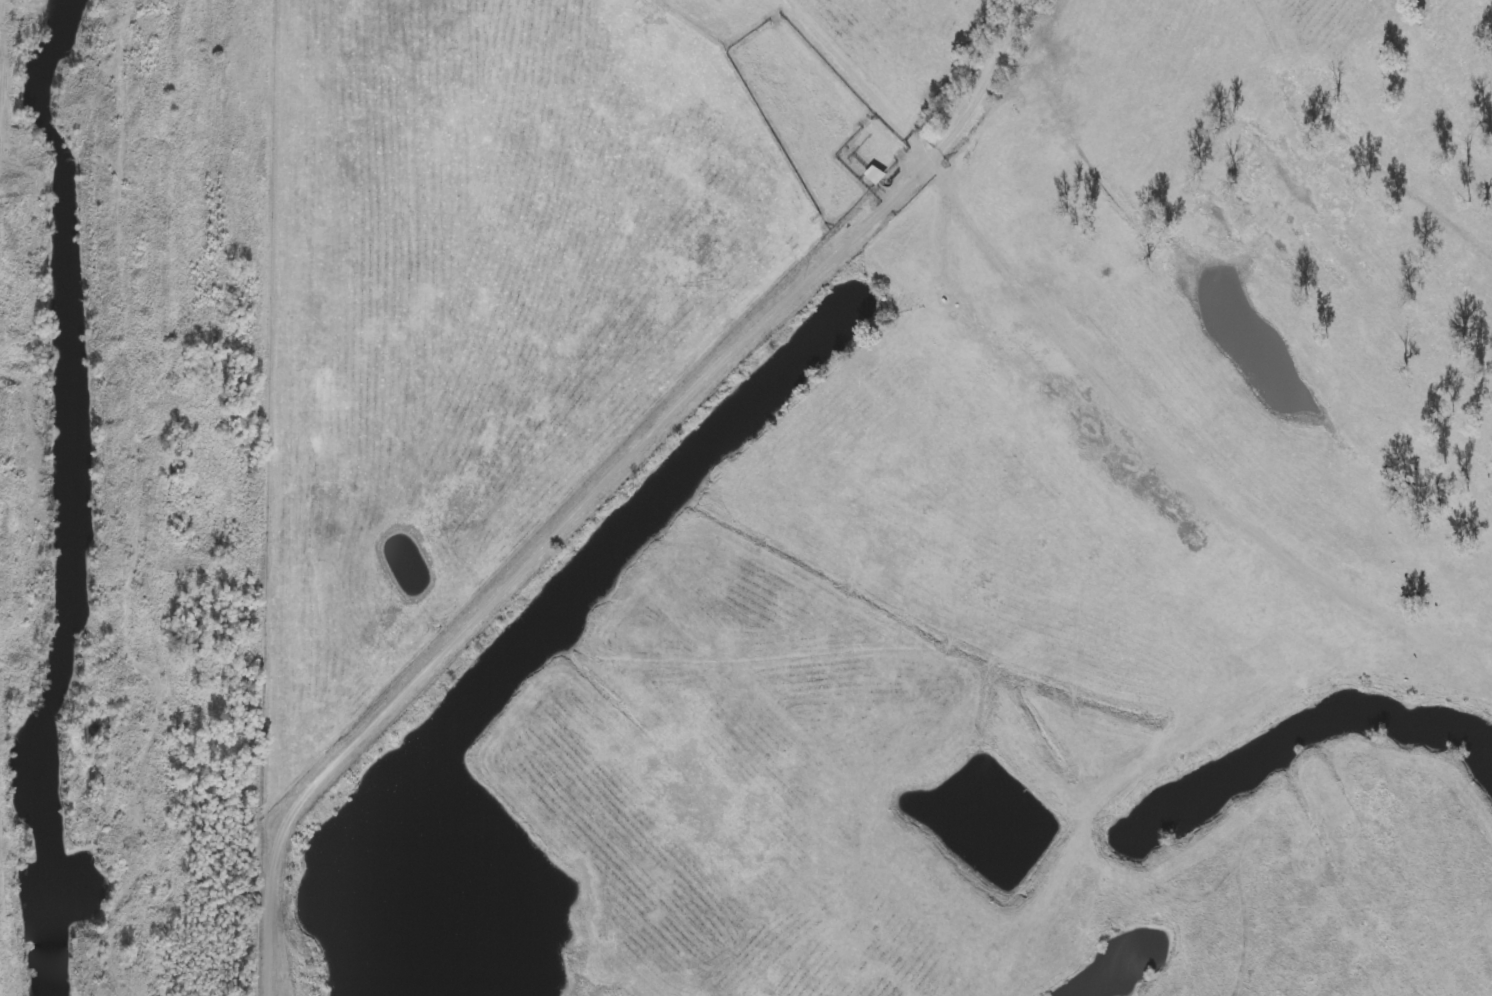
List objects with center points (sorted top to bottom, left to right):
road: (77, 25)
road: (603, 476)
road: (74, 487)

